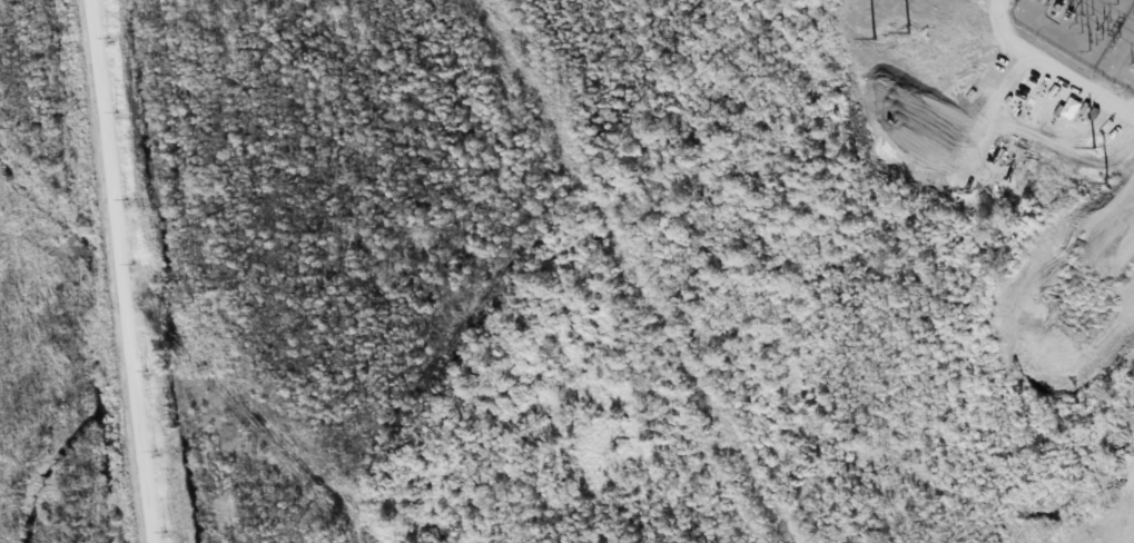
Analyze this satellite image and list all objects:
power substation: (1087, 30)
building: (1067, 110)
road: (115, 271)

